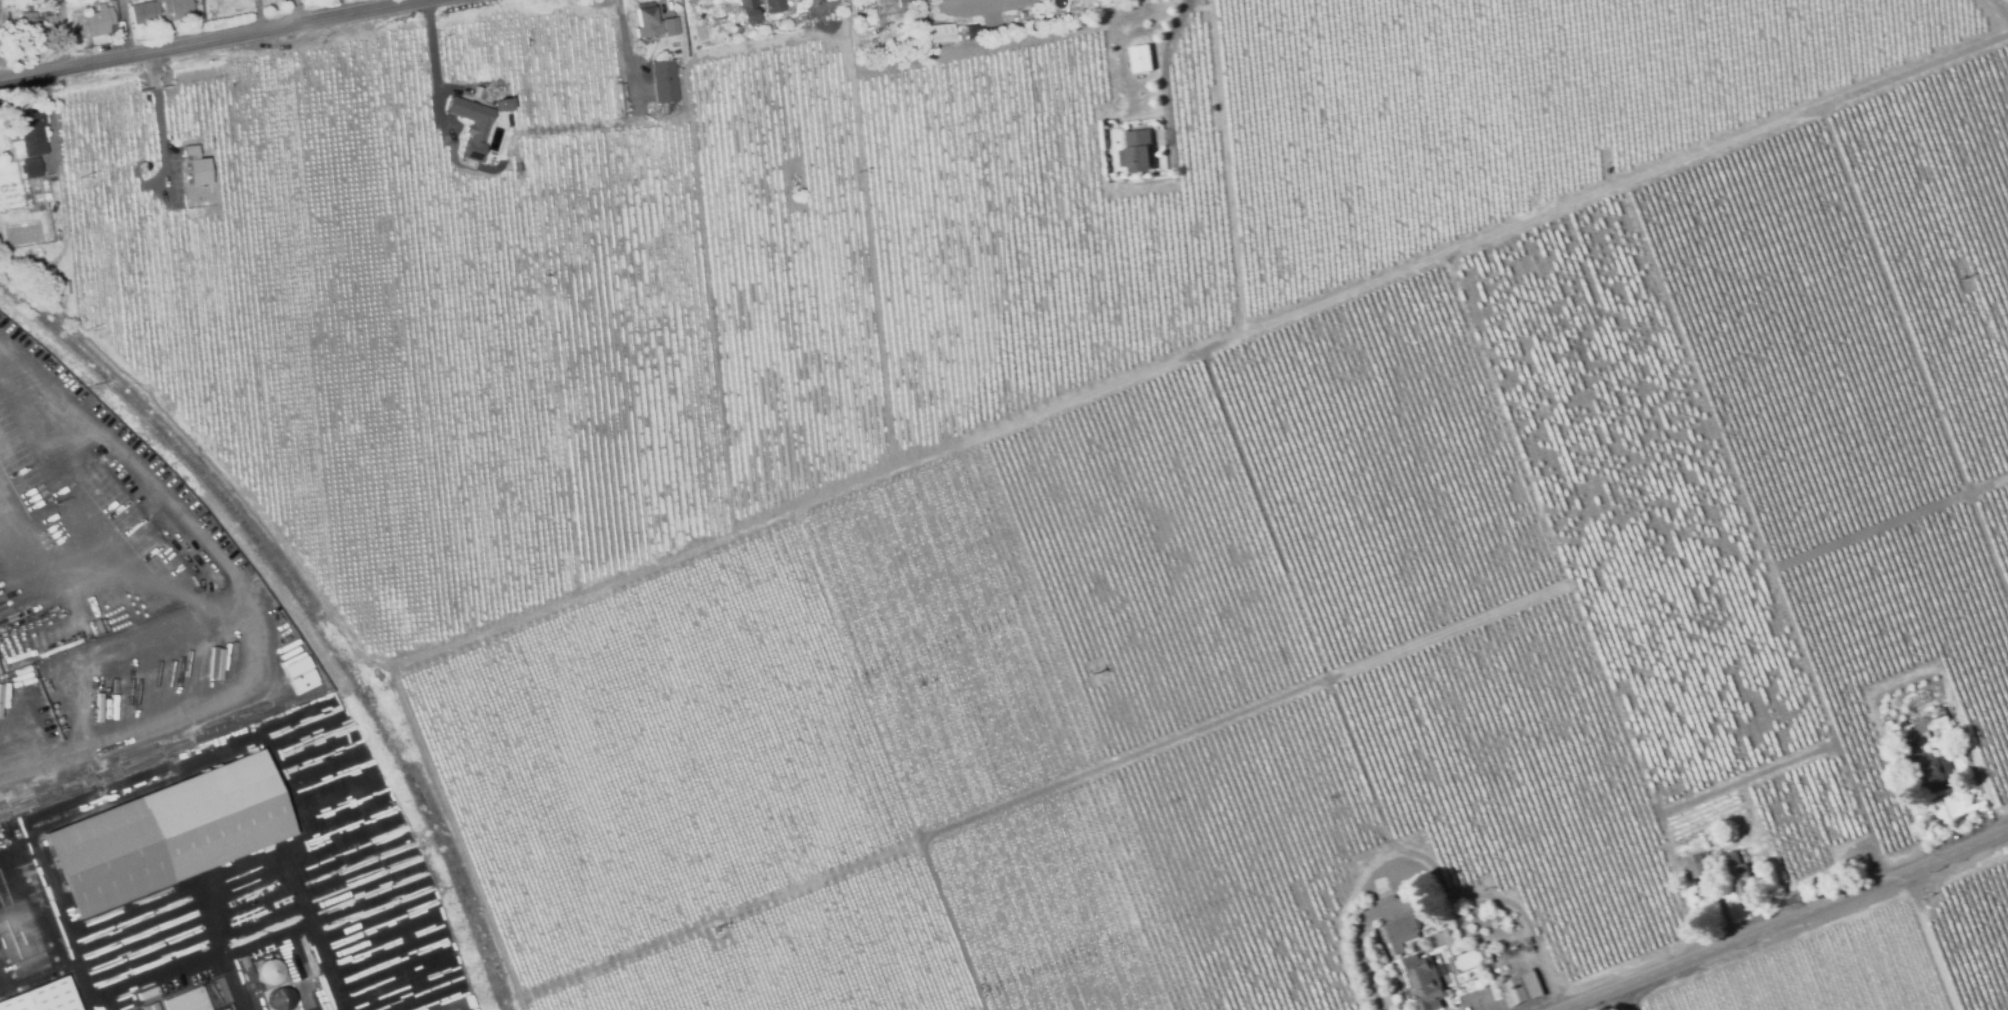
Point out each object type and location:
building: (824, 0)
building: (23, 1)
building: (582, 2)
building: (905, 5)
building: (773, 6)
building: (176, 7)
building: (747, 10)
road: (298, 12)
building: (143, 13)
building: (1022, 15)
building: (100, 19)
building: (29, 24)
building: (647, 27)
building: (671, 30)
building: (974, 32)
building: (939, 34)
road: (217, 39)
building: (1141, 59)
road: (1162, 67)
road: (437, 70)
building: (663, 82)
building: (501, 105)
building: (1109, 123)
building: (470, 124)
building: (31, 130)
building: (1140, 149)
building: (34, 169)
railway: (310, 608)
road: (298, 671)
road: (125, 715)
building: (1939, 723)
building: (1917, 747)
road: (14, 765)
building: (1936, 772)
road: (1737, 786)
building: (1716, 830)
building: (106, 857)
building: (1859, 864)
building: (1698, 867)
building: (1739, 877)
road: (197, 887)
road: (1443, 896)
road: (1781, 920)
road: (1692, 924)
building: (1402, 932)
building: (269, 971)
building: (248, 973)
building: (201, 982)
building: (1424, 982)
building: (34, 983)
building: (285, 985)
building: (1520, 991)
building: (187, 999)
building: (149, 1007)

